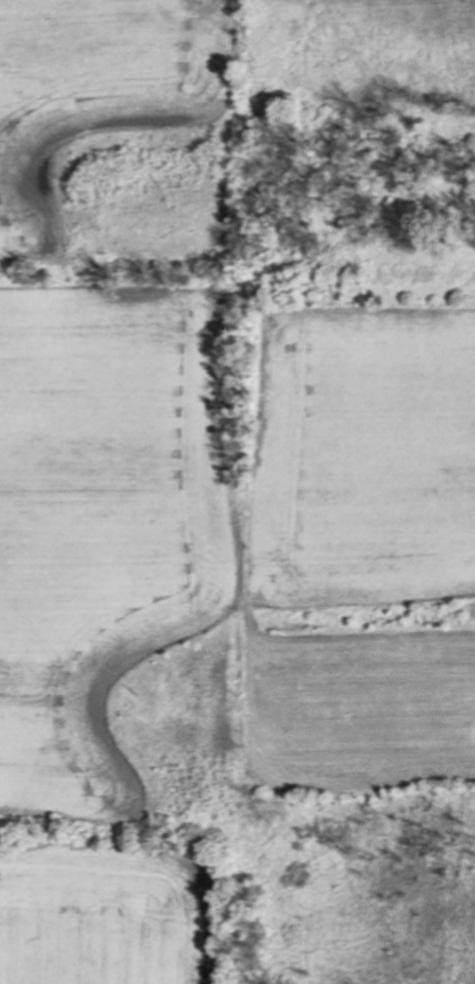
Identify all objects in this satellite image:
airport: (362, 418)
crop: (367, 457)
crop: (102, 498)
airport runway: (393, 711)

